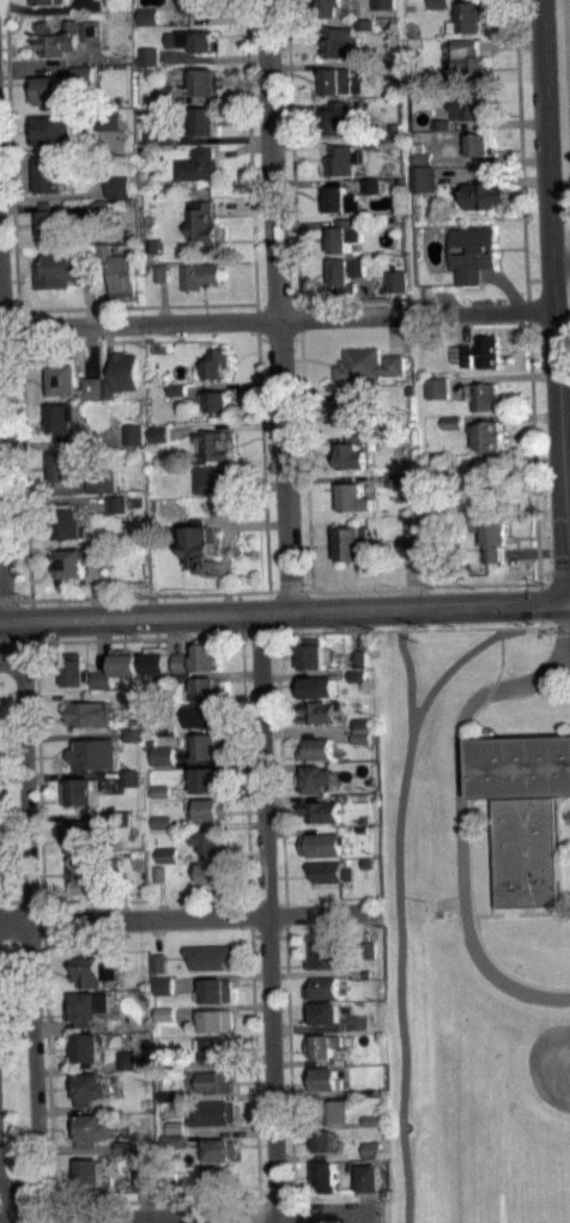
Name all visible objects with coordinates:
building: (49, 1)
building: (439, 4)
building: (384, 5)
building: (199, 6)
building: (335, 8)
building: (147, 16)
building: (468, 17)
building: (365, 24)
building: (148, 25)
building: (90, 30)
building: (59, 38)
building: (192, 40)
building: (340, 42)
building: (194, 49)
road: (568, 49)
building: (146, 56)
building: (467, 61)
building: (148, 65)
building: (368, 65)
building: (83, 73)
building: (84, 80)
building: (336, 80)
building: (204, 81)
building: (49, 90)
building: (164, 95)
building: (471, 102)
building: (165, 103)
building: (201, 119)
building: (342, 119)
building: (109, 120)
building: (443, 123)
building: (50, 129)
building: (165, 135)
building: (370, 141)
building: (478, 144)
road: (521, 149)
building: (422, 153)
road: (250, 159)
road: (292, 159)
building: (342, 159)
building: (199, 165)
road: (12, 172)
building: (54, 175)
building: (424, 177)
building: (372, 184)
building: (120, 186)
building: (371, 194)
building: (484, 195)
building: (121, 196)
building: (339, 200)
building: (102, 208)
building: (101, 219)
building: (204, 222)
building: (51, 223)
building: (344, 235)
building: (156, 246)
building: (472, 252)
road: (562, 261)
building: (65, 268)
building: (120, 271)
building: (162, 273)
building: (200, 274)
building: (341, 278)
building: (396, 280)
road: (548, 280)
building: (163, 283)
road: (569, 298)
road: (553, 299)
road: (569, 301)
road: (277, 304)
road: (127, 307)
road: (527, 309)
road: (277, 321)
road: (279, 338)
road: (10, 345)
building: (479, 351)
building: (217, 363)
building: (369, 365)
building: (125, 371)
building: (62, 379)
road: (8, 380)
building: (92, 386)
building: (108, 388)
building: (177, 388)
building: (437, 388)
building: (484, 395)
building: (217, 400)
road: (22, 410)
building: (218, 410)
building: (350, 411)
building: (63, 419)
building: (454, 422)
building: (453, 431)
building: (133, 432)
building: (158, 432)
building: (486, 435)
building: (159, 442)
building: (214, 444)
road: (533, 450)
road: (261, 455)
building: (352, 456)
road: (305, 459)
building: (62, 466)
building: (487, 472)
building: (213, 478)
building: (401, 479)
building: (400, 488)
building: (102, 492)
building: (353, 497)
building: (116, 503)
building: (224, 503)
building: (117, 513)
building: (68, 523)
building: (495, 539)
building: (351, 543)
building: (408, 544)
building: (201, 546)
building: (75, 563)
road: (0, 570)
road: (559, 570)
road: (545, 571)
road: (426, 586)
road: (289, 589)
road: (144, 594)
traffic signals: (566, 599)
road: (568, 599)
road: (6, 600)
road: (540, 601)
road: (1, 610)
road: (283, 610)
road: (540, 622)
road: (560, 625)
road: (502, 626)
road: (387, 630)
road: (256, 635)
road: (139, 638)
road: (7, 643)
road: (1, 650)
building: (314, 654)
building: (204, 656)
building: (358, 658)
building: (154, 660)
building: (180, 661)
road: (569, 661)
building: (125, 662)
building: (358, 667)
building: (75, 672)
building: (356, 676)
building: (182, 677)
building: (102, 679)
road: (408, 684)
building: (102, 688)
building: (207, 688)
building: (315, 688)
road: (491, 689)
building: (132, 696)
building: (132, 706)
building: (89, 712)
building: (319, 712)
building: (204, 715)
building: (360, 723)
building: (168, 728)
building: (134, 733)
building: (360, 737)
building: (207, 745)
building: (316, 749)
building: (93, 753)
building: (163, 755)
road: (280, 767)
road: (245, 770)
building: (129, 777)
building: (208, 779)
building: (315, 779)
building: (129, 786)
building: (81, 791)
building: (160, 791)
road: (460, 798)
building: (207, 809)
building: (321, 811)
building: (523, 811)
building: (162, 822)
road: (492, 824)
building: (162, 830)
building: (78, 833)
building: (210, 840)
building: (321, 844)
road: (489, 852)
building: (168, 854)
building: (166, 864)
building: (85, 865)
building: (326, 871)
building: (211, 872)
road: (471, 872)
building: (159, 873)
building: (213, 882)
road: (399, 907)
road: (529, 909)
road: (523, 913)
road: (285, 914)
road: (42, 915)
road: (250, 915)
road: (271, 916)
road: (183, 918)
road: (29, 920)
road: (250, 934)
road: (267, 936)
road: (280, 936)
building: (328, 955)
building: (210, 956)
building: (159, 962)
building: (92, 969)
building: (368, 973)
building: (163, 985)
building: (323, 987)
building: (217, 989)
building: (164, 994)
building: (89, 1006)
building: (164, 1012)
building: (322, 1012)
building: (217, 1019)
building: (165, 1022)
building: (323, 1045)
building: (89, 1048)
building: (217, 1048)
building: (323, 1054)
building: (127, 1059)
building: (166, 1061)
road: (289, 1064)
park: (552, 1065)
road: (254, 1066)
building: (127, 1068)
building: (325, 1078)
building: (216, 1082)
building: (91, 1088)
building: (168, 1095)
building: (335, 1110)
building: (213, 1113)
building: (374, 1120)
building: (176, 1127)
building: (96, 1128)
building: (323, 1139)
building: (172, 1140)
building: (123, 1148)
building: (220, 1149)
building: (374, 1149)
building: (326, 1150)
building: (374, 1158)
building: (92, 1173)
building: (327, 1174)
building: (171, 1176)
building: (369, 1177)
building: (142, 1179)
building: (214, 1179)
road: (8, 1183)
road: (290, 1192)
road: (261, 1193)
road: (275, 1193)
road: (326, 1195)
road: (256, 1199)
road: (153, 1200)
road: (41, 1204)
road: (16, 1206)
road: (18, 1207)
road: (256, 1212)
road: (297, 1212)
road: (51, 1216)
road: (237, 1219)

